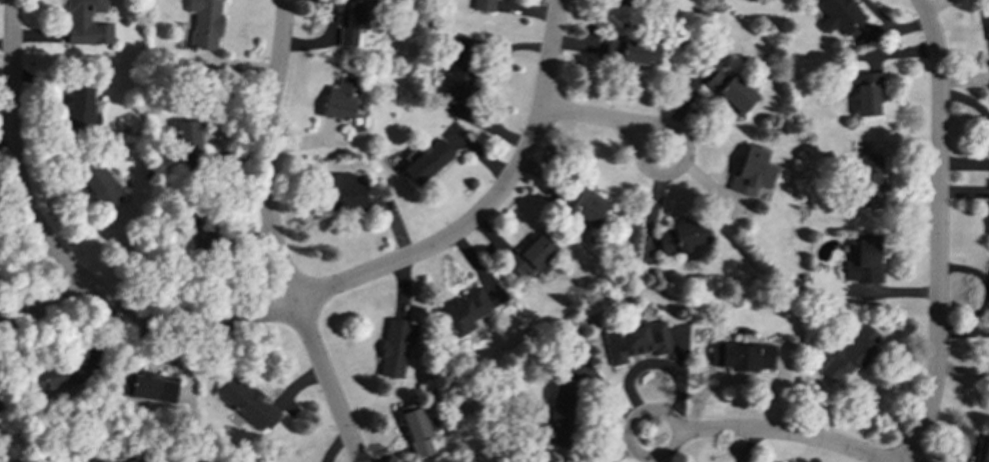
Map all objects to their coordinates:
building: (483, 5)
building: (838, 15)
building: (988, 17)
building: (351, 22)
building: (86, 23)
building: (205, 23)
building: (631, 52)
building: (460, 69)
building: (730, 90)
building: (864, 91)
building: (340, 99)
building: (80, 109)
road: (583, 116)
building: (185, 140)
building: (425, 161)
road: (681, 166)
building: (751, 171)
building: (867, 182)
building: (99, 185)
building: (343, 192)
road: (488, 203)
building: (583, 204)
road: (937, 231)
building: (681, 236)
road: (273, 237)
road: (54, 254)
building: (531, 257)
building: (863, 261)
road: (50, 299)
building: (465, 310)
road: (12, 319)
building: (635, 341)
building: (395, 347)
building: (849, 353)
building: (741, 357)
building: (58, 376)
building: (153, 386)
building: (246, 403)
building: (560, 413)
building: (416, 429)
road: (779, 433)
building: (984, 450)
road: (642, 459)
building: (102, 460)
building: (137, 460)

